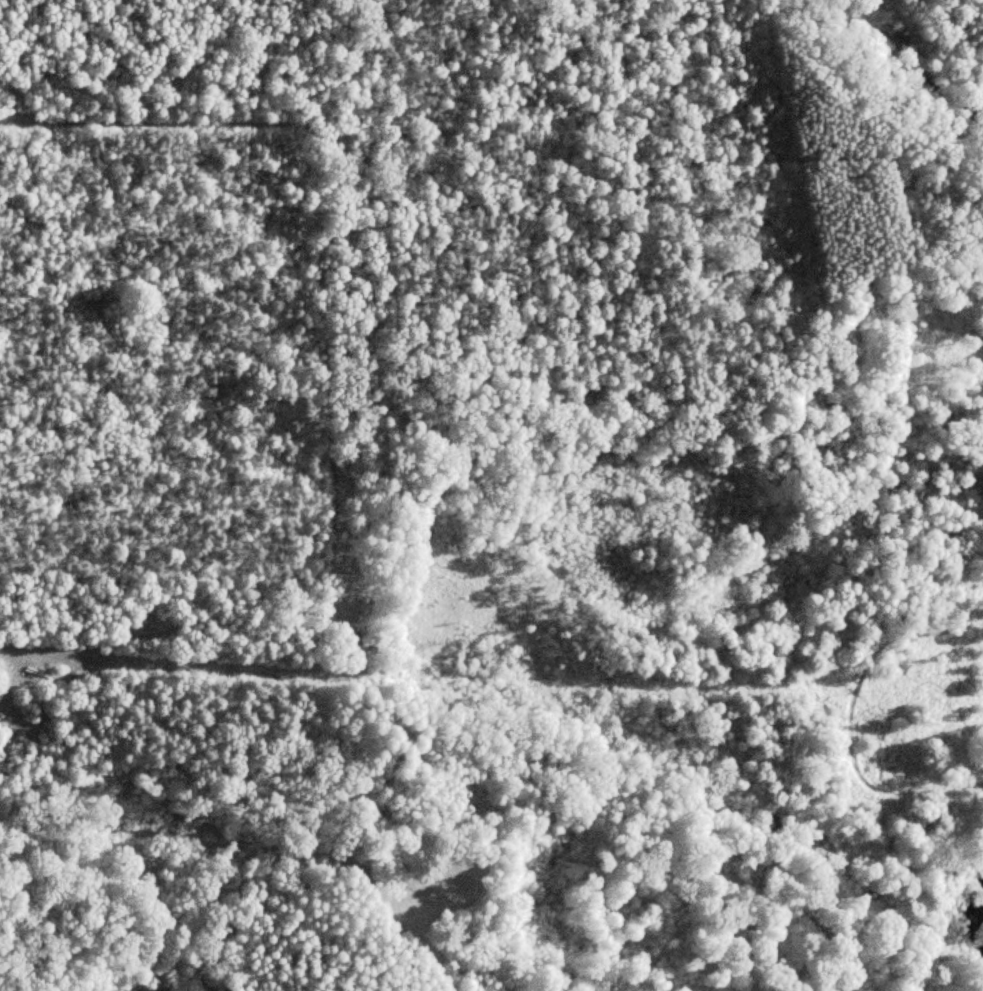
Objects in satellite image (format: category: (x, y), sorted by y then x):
road: (85, 643)

